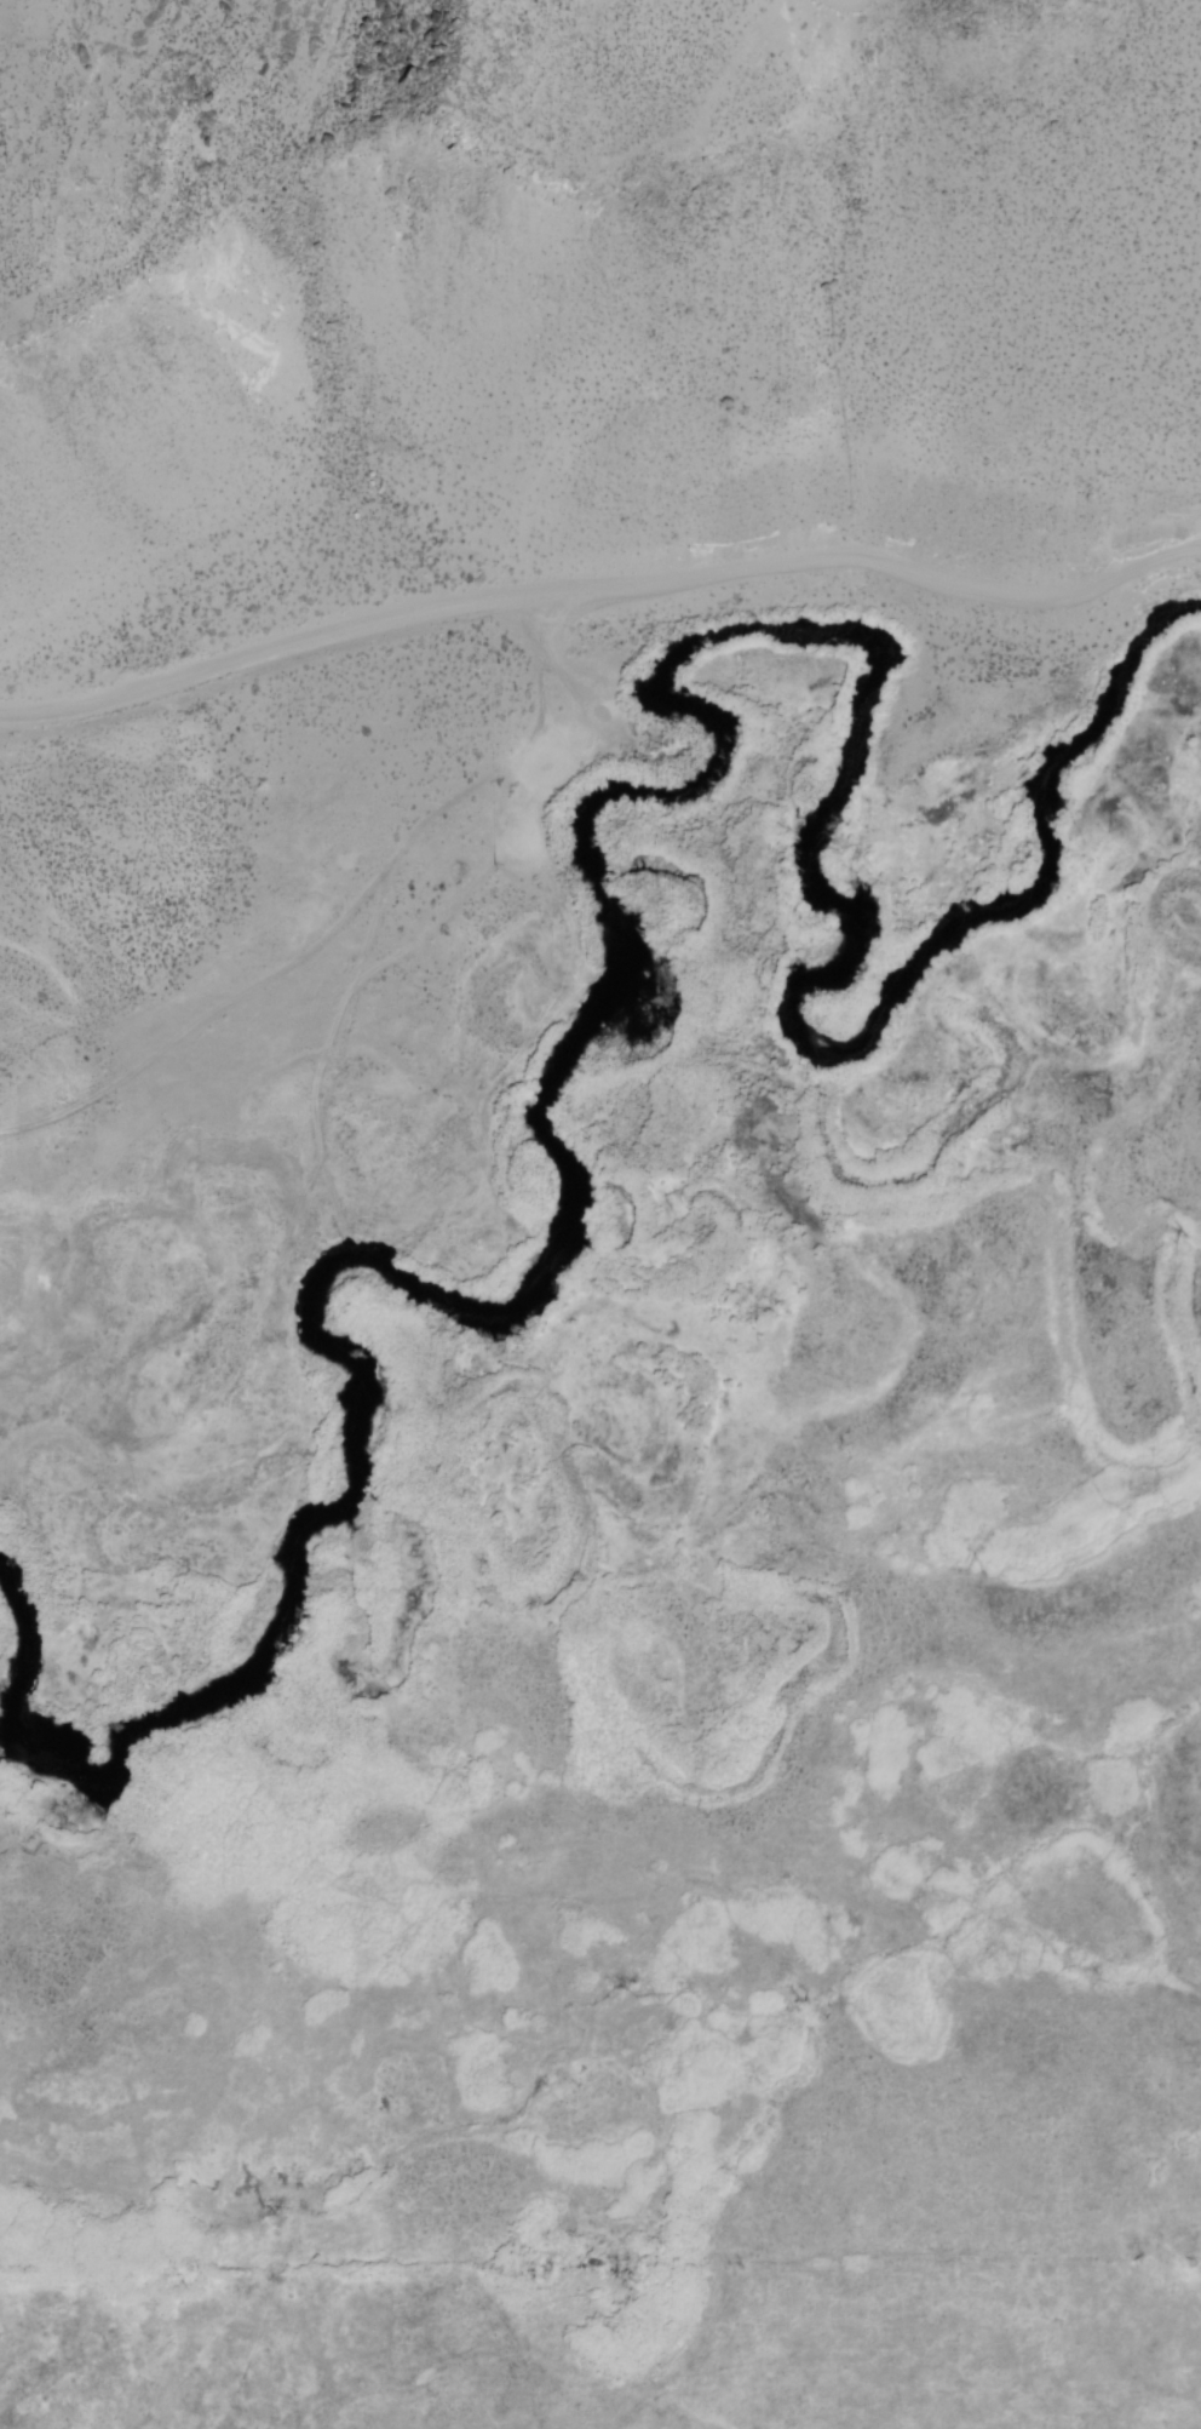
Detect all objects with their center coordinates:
road: (840, 6)
road: (677, 138)
road: (58, 214)
road: (599, 579)
river: (786, 655)
parking lot: (11, 728)
road: (527, 789)
river: (12, 1617)
river: (274, 1651)

